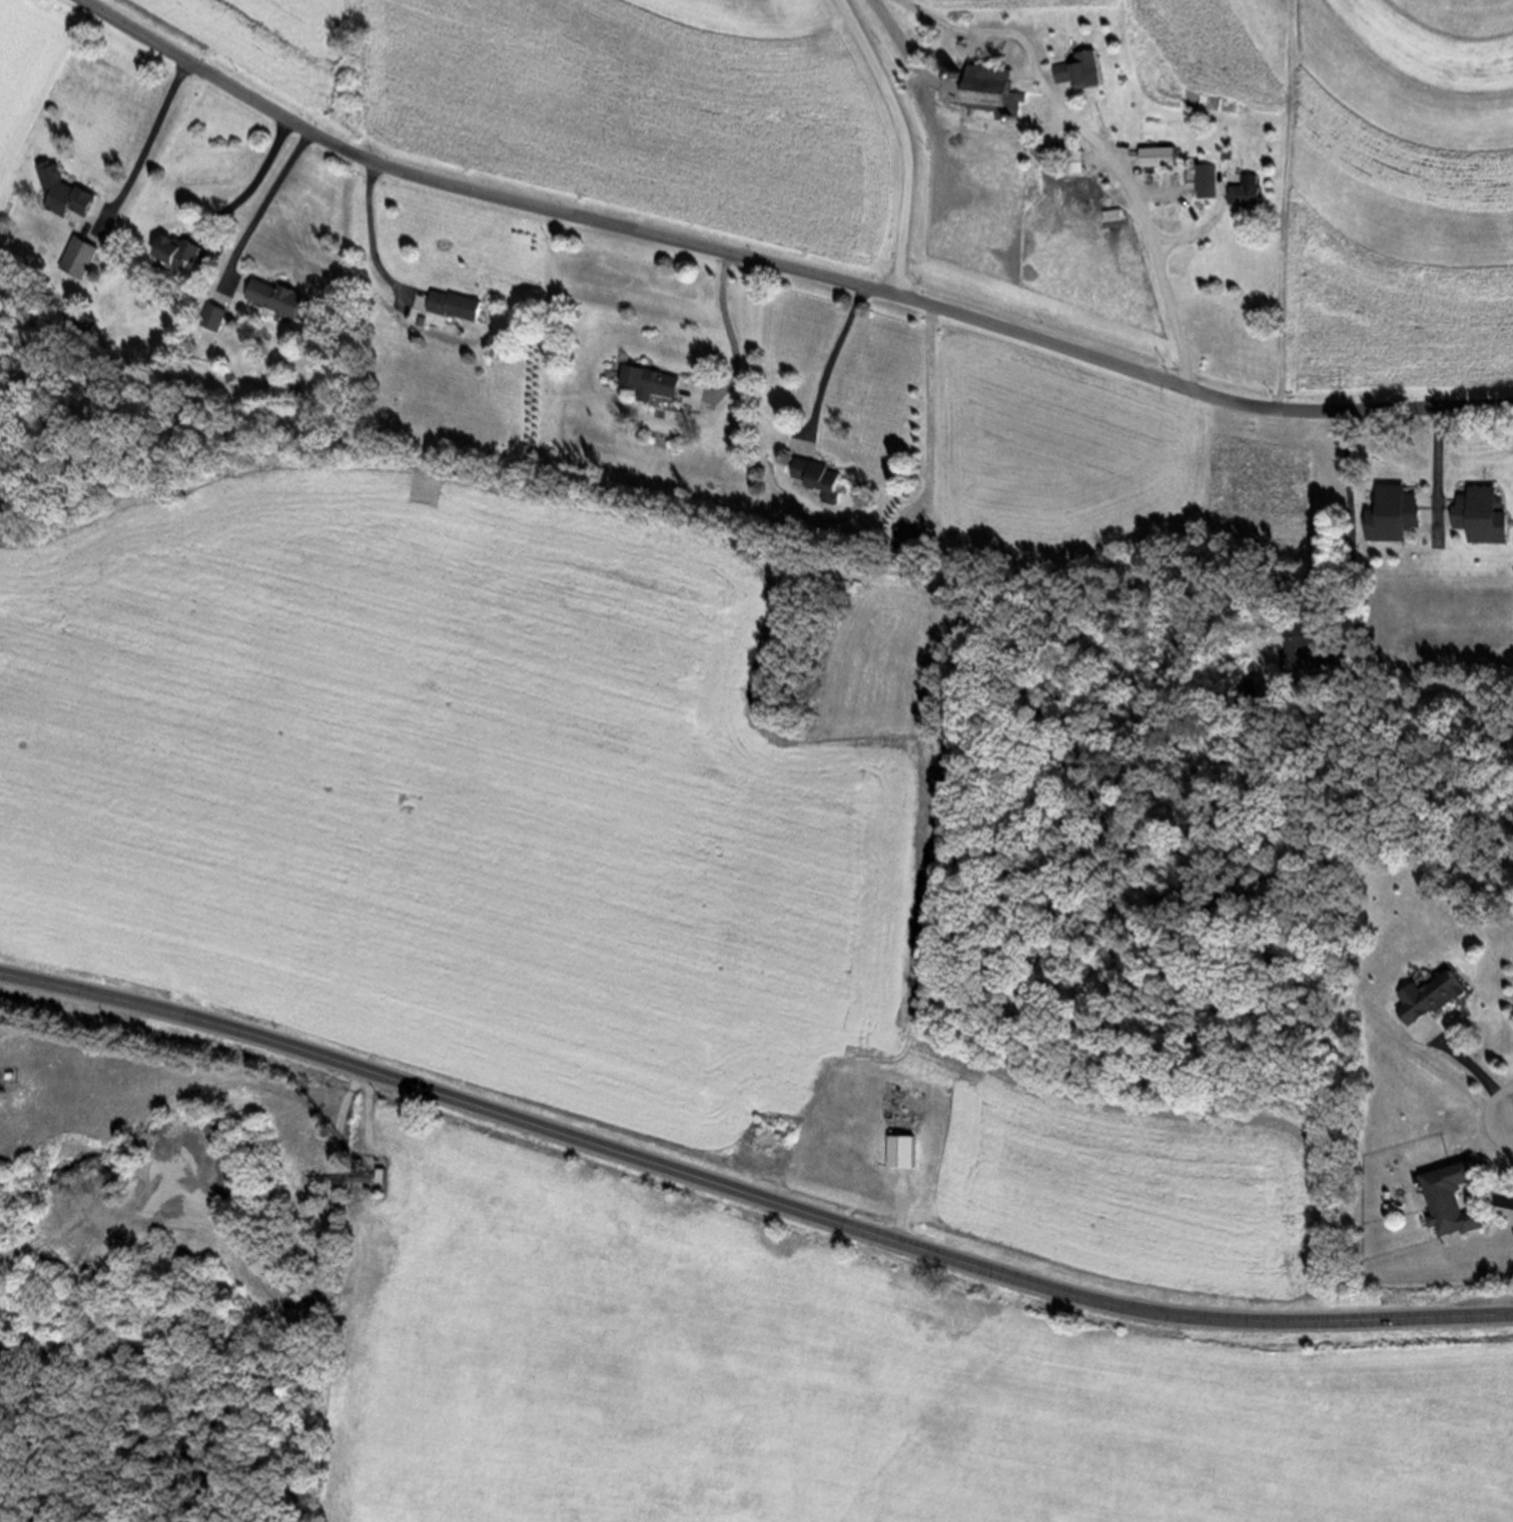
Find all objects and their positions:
building: (1078, 70)
building: (988, 89)
road: (904, 140)
road: (1096, 145)
road: (141, 151)
building: (1157, 157)
building: (1068, 161)
building: (1203, 181)
road: (250, 184)
building: (67, 190)
building: (1243, 191)
road: (259, 208)
road: (1204, 227)
road: (368, 243)
building: (181, 250)
building: (80, 256)
road: (779, 265)
building: (284, 297)
building: (454, 304)
building: (214, 317)
road: (735, 344)
road: (829, 367)
building: (645, 383)
road: (930, 415)
road: (1438, 476)
building: (819, 481)
building: (1389, 513)
building: (1479, 515)
building: (902, 538)
road: (1354, 546)
building: (1301, 644)
building: (1427, 996)
road: (1469, 1072)
building: (13, 1074)
road: (1512, 1119)
road: (370, 1120)
road: (1512, 1120)
building: (905, 1146)
building: (366, 1165)
road: (106, 1166)
road: (335, 1168)
building: (381, 1174)
road: (749, 1190)
building: (1445, 1200)
road: (903, 1207)
crop: (828, 1384)

